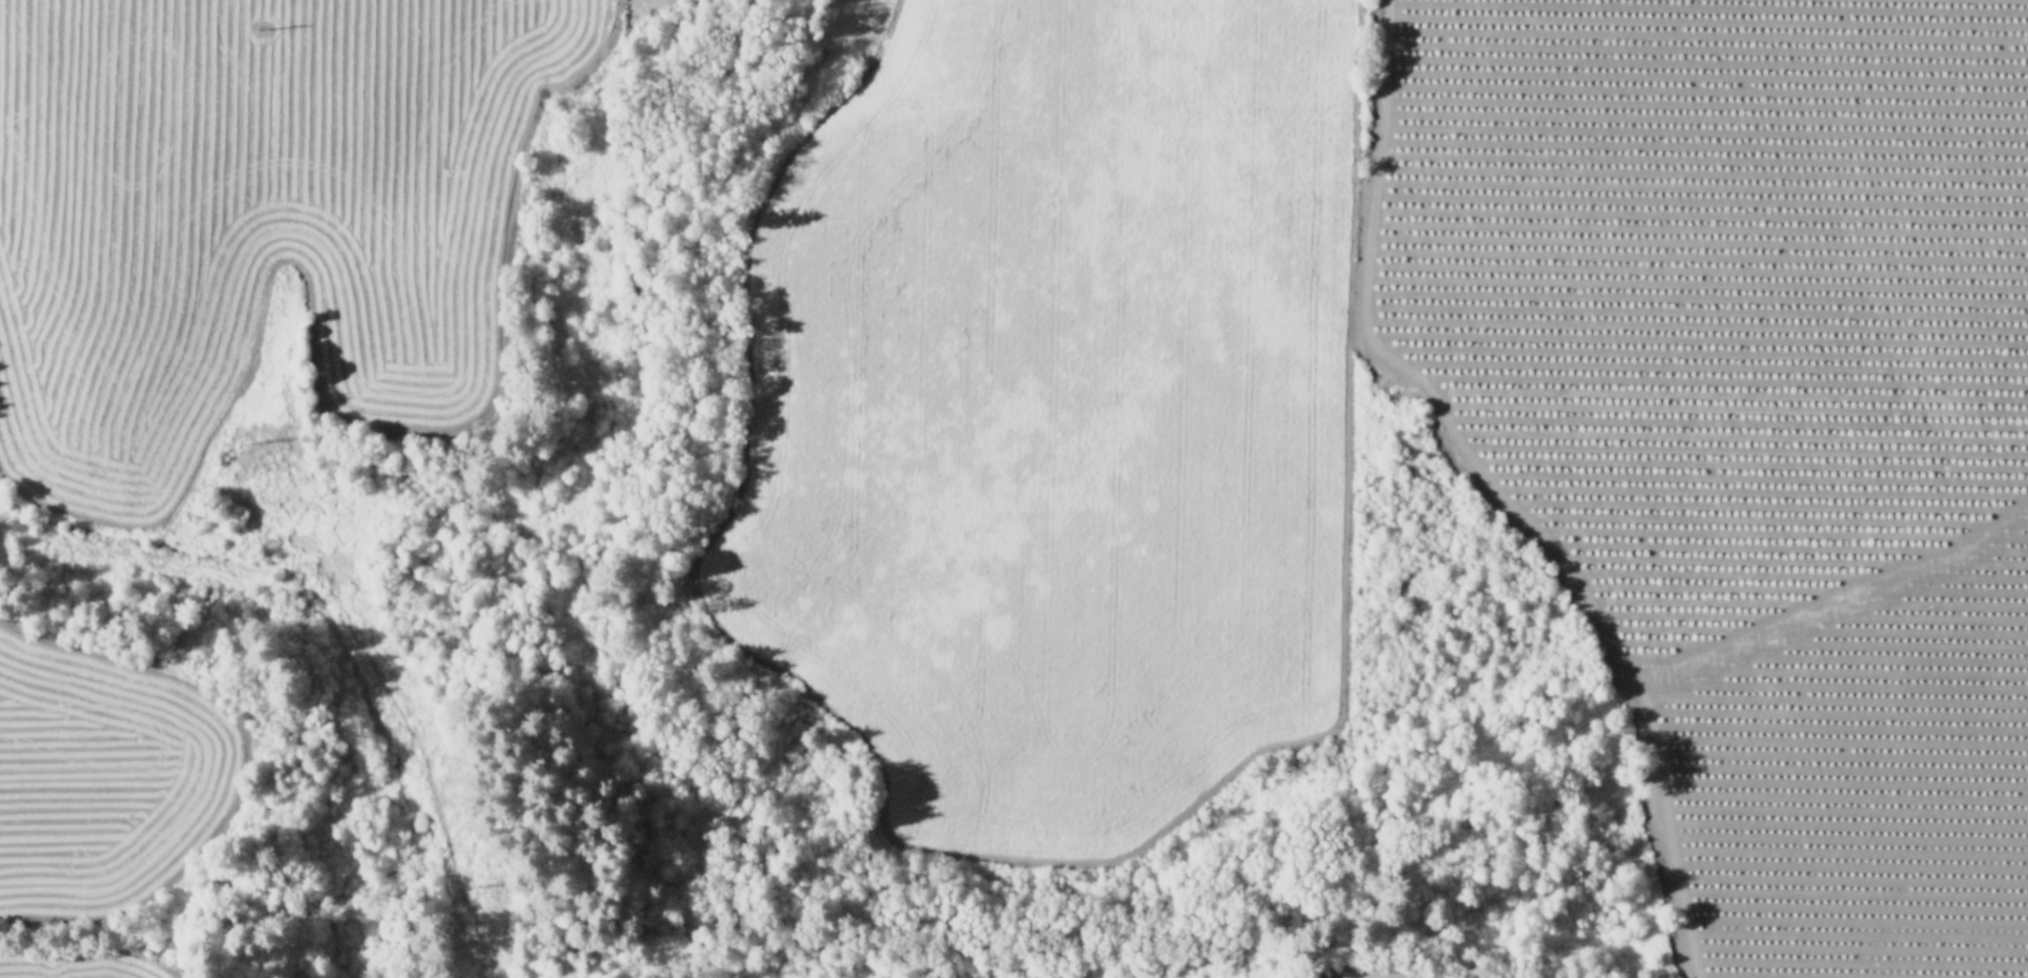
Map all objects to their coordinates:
crop: (277, 211)
crop: (1422, 412)
crop: (77, 843)
crop: (1293, 959)

